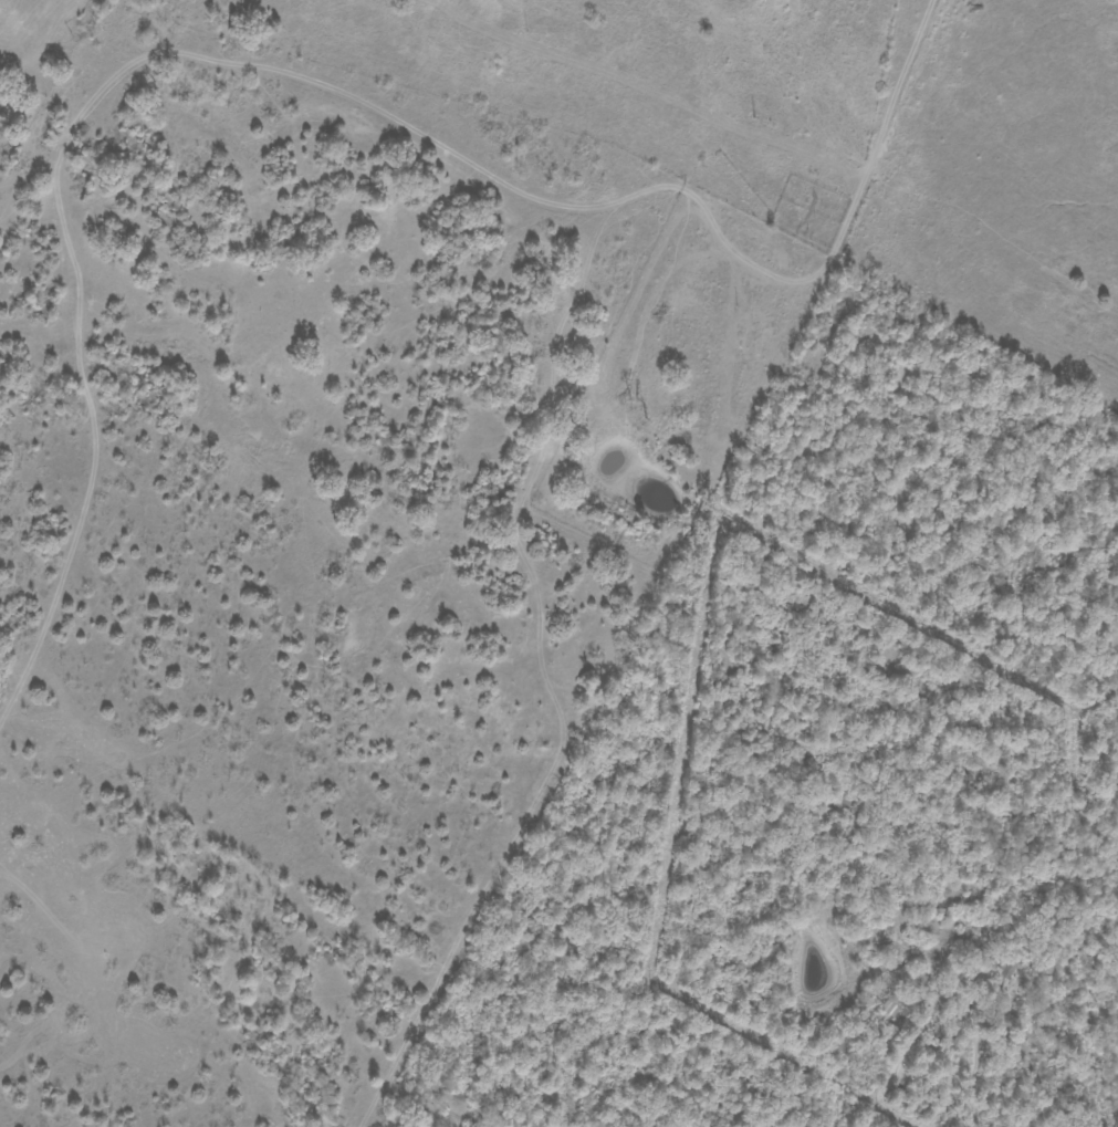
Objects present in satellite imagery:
road: (86, 431)
road: (457, 509)
building: (1006, 968)
road: (980, 1068)

